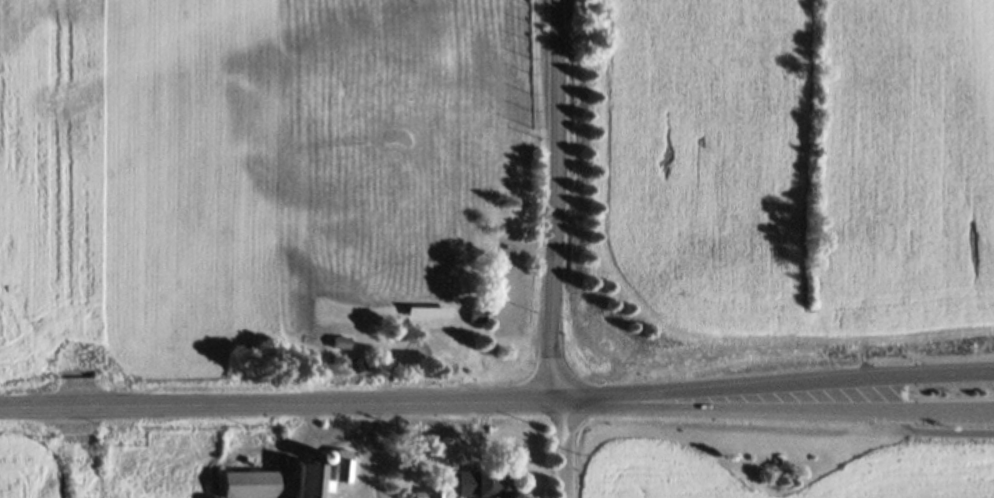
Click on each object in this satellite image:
crop: (776, 187)
park: (408, 194)
crop: (138, 197)
road: (552, 200)
road: (508, 262)
parking lot: (508, 286)
building: (426, 310)
building: (474, 313)
building: (339, 342)
road: (835, 384)
road: (547, 402)
road: (208, 407)
road: (835, 410)
road: (945, 433)
road: (328, 435)
road: (372, 450)
road: (566, 450)
crop: (780, 459)
building: (335, 463)
building: (306, 481)
building: (480, 482)
building: (246, 483)
building: (422, 493)

